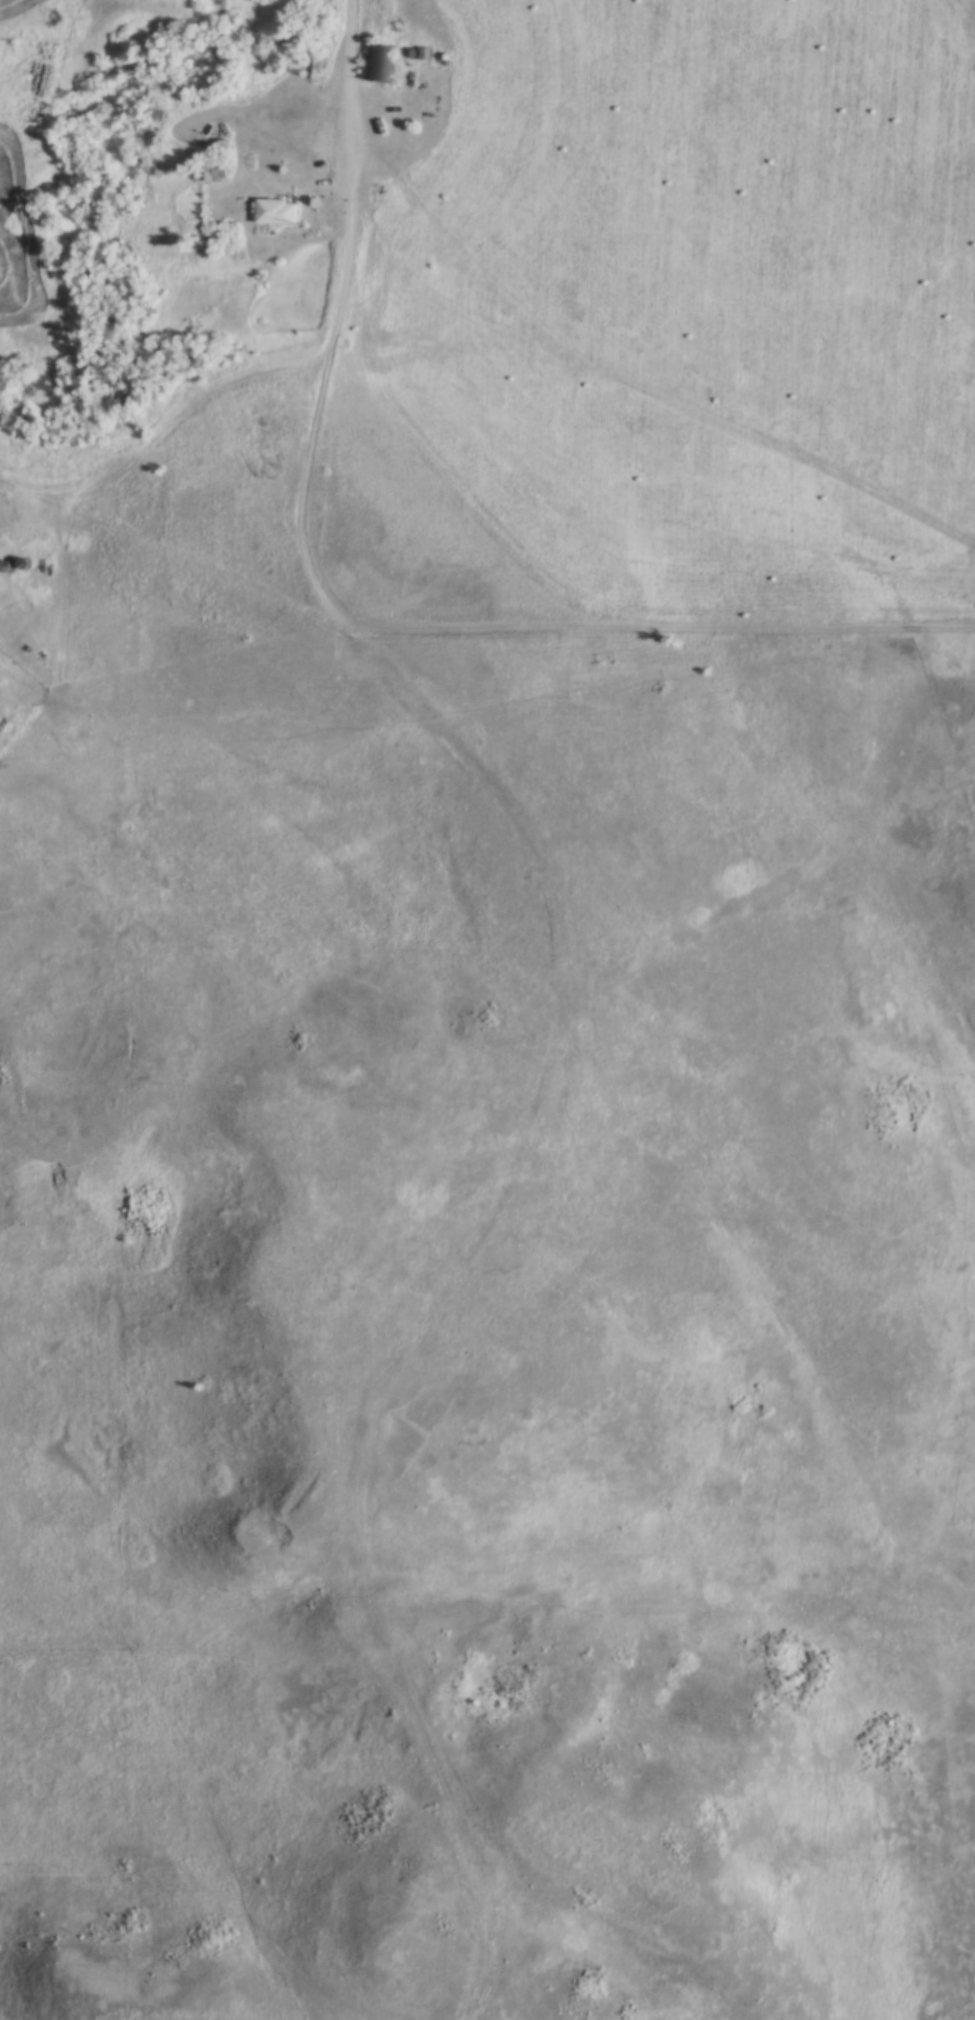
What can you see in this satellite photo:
building: (378, 64)
building: (314, 68)
building: (210, 170)
road: (341, 186)
building: (274, 212)

